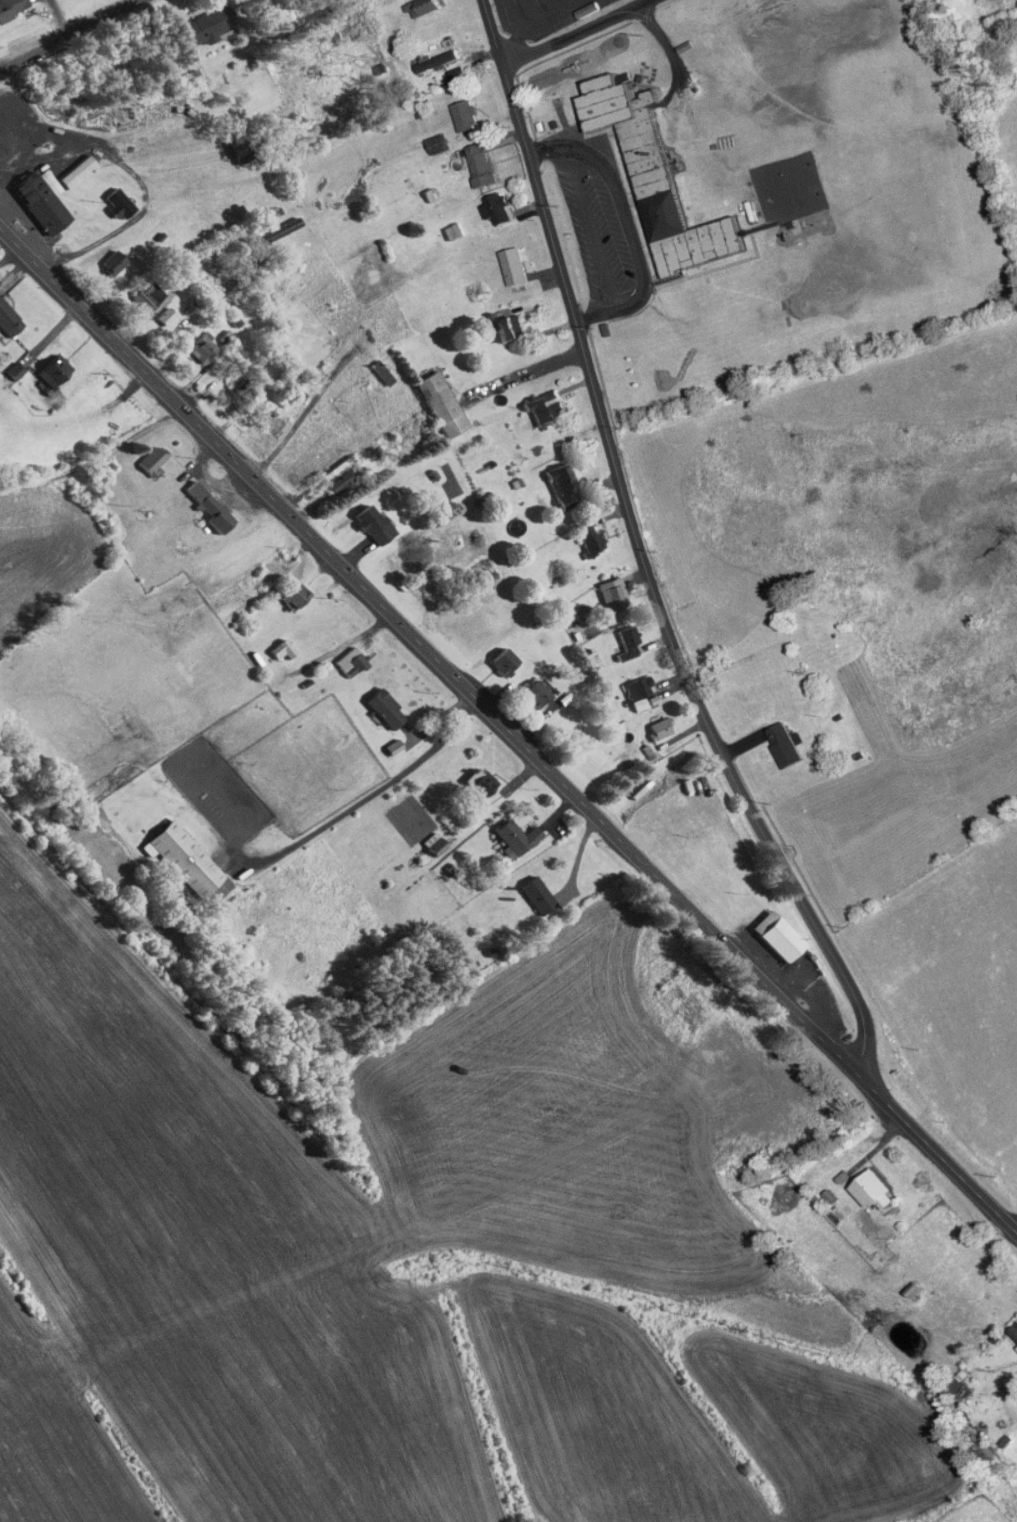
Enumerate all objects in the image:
road: (69, 34)
road: (576, 34)
road: (177, 283)
road: (523, 375)
road: (306, 411)
road: (95, 460)
road: (640, 554)
road: (737, 661)
road: (508, 730)
road: (381, 790)
road: (443, 1205)
road: (1014, 1226)

